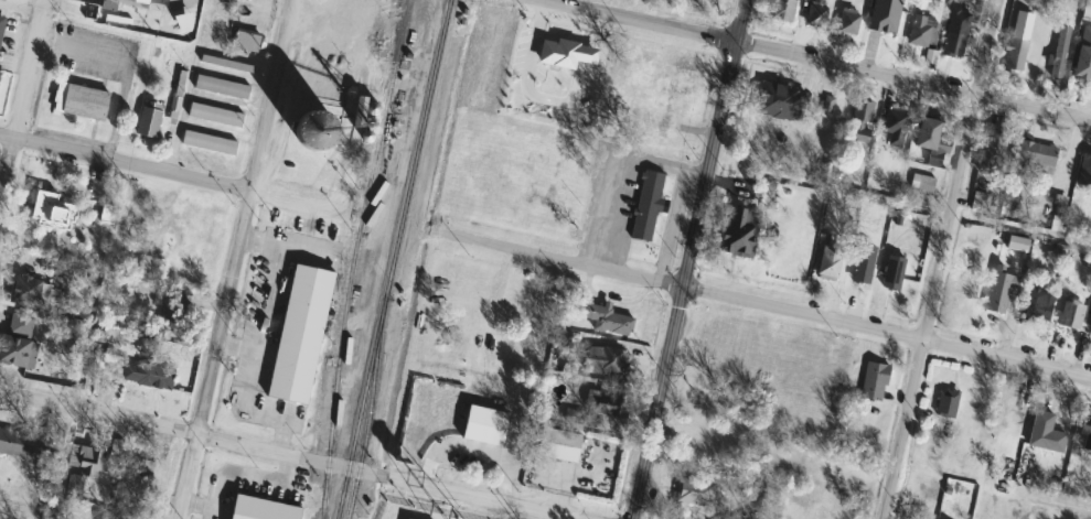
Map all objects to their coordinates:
building: (227, 1)
road: (21, 4)
building: (780, 10)
building: (815, 14)
road: (634, 21)
road: (736, 21)
building: (847, 22)
building: (1, 23)
building: (922, 31)
building: (245, 40)
building: (952, 44)
road: (985, 48)
building: (558, 52)
building: (1059, 52)
building: (1014, 54)
building: (1083, 54)
road: (910, 83)
building: (325, 86)
building: (221, 87)
road: (21, 100)
road: (549, 100)
building: (671, 100)
building: (79, 101)
building: (781, 102)
building: (214, 115)
building: (858, 121)
building: (147, 122)
building: (894, 127)
building: (207, 143)
building: (929, 143)
building: (991, 153)
building: (1034, 153)
building: (1085, 171)
road: (168, 172)
building: (646, 205)
building: (49, 209)
building: (106, 214)
road: (949, 218)
building: (738, 233)
road: (258, 241)
railway: (352, 257)
road: (234, 259)
railway: (393, 259)
building: (827, 263)
building: (862, 263)
building: (149, 266)
building: (892, 272)
road: (677, 280)
building: (25, 292)
building: (998, 293)
road: (266, 299)
road: (762, 304)
building: (1036, 304)
building: (1070, 315)
building: (516, 316)
building: (605, 318)
building: (1090, 331)
building: (298, 334)
building: (17, 342)
road: (236, 346)
building: (605, 360)
building: (146, 372)
road: (249, 380)
building: (873, 381)
building: (599, 403)
building: (945, 403)
railway: (368, 413)
road: (280, 420)
building: (483, 425)
road: (901, 429)
building: (1085, 431)
road: (173, 432)
building: (1042, 433)
building: (557, 445)
building: (19, 447)
road: (472, 457)
building: (142, 467)
building: (86, 468)
road: (267, 485)
building: (694, 493)
road: (459, 494)
road: (217, 498)
road: (200, 502)
building: (260, 509)
building: (116, 515)

